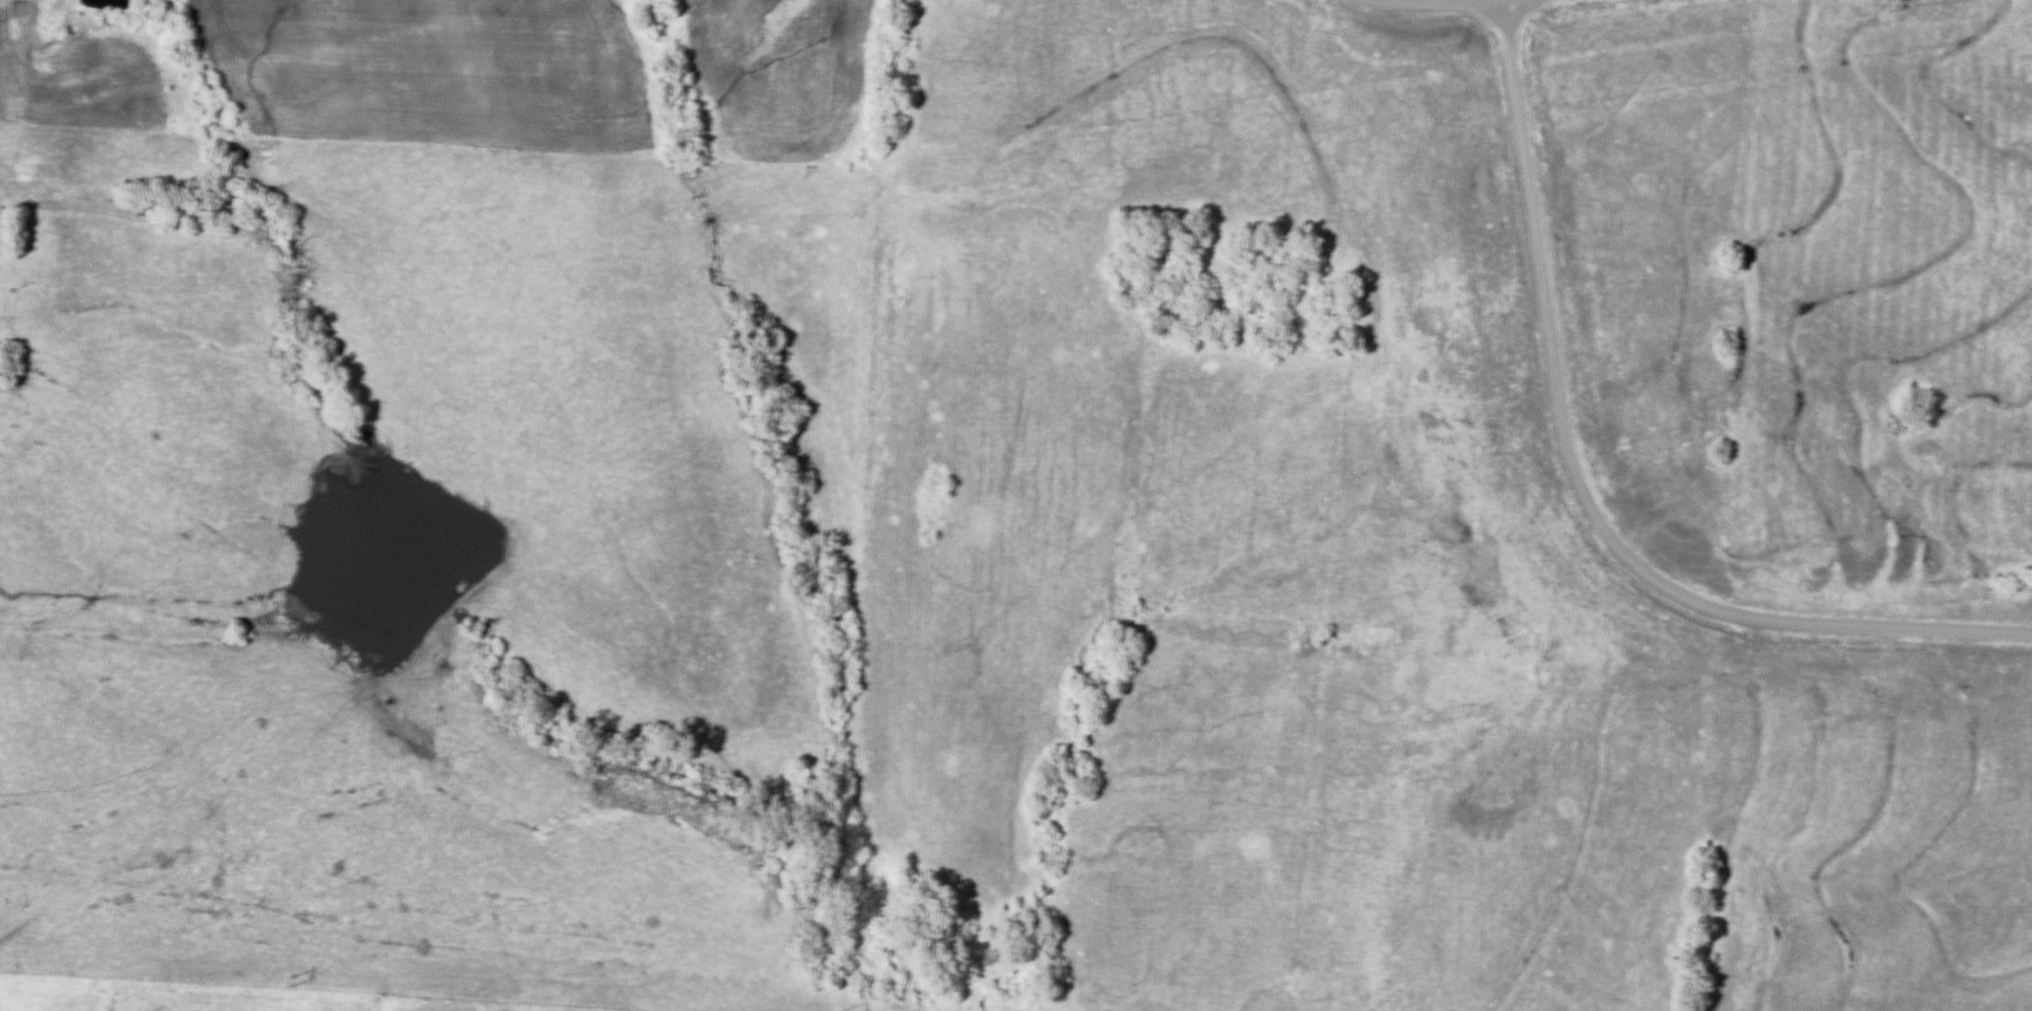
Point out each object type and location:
road: (1443, 1)
crop: (433, 71)
crop: (780, 76)
crop: (77, 79)
road: (1582, 492)

